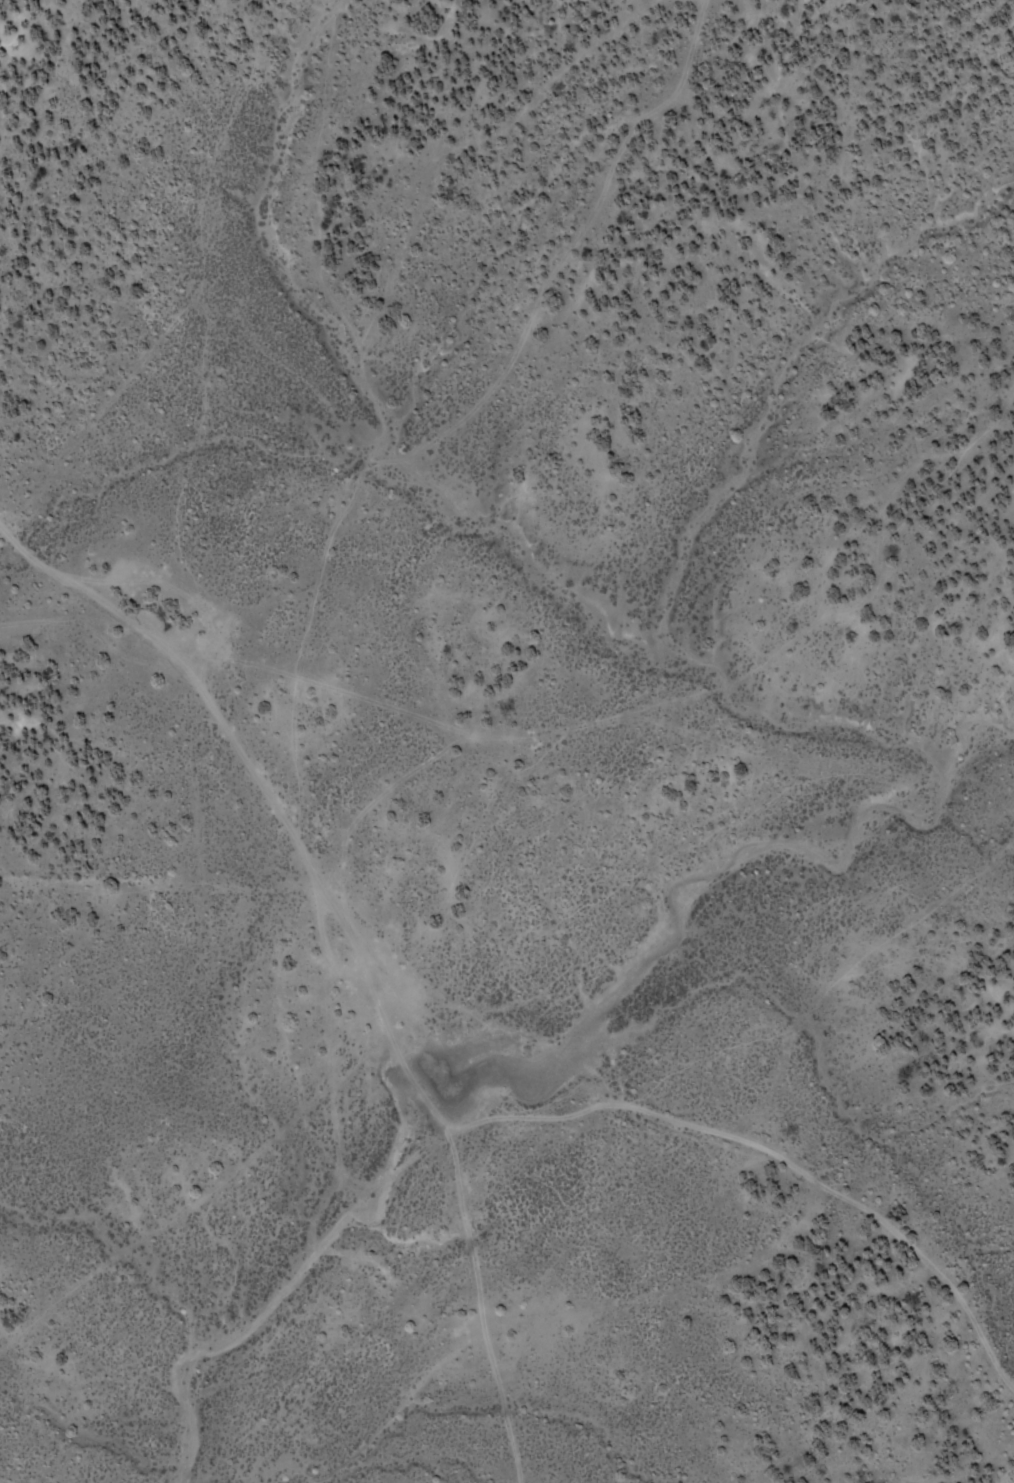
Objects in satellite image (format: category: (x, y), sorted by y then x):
road: (375, 959)
road: (933, 1270)

